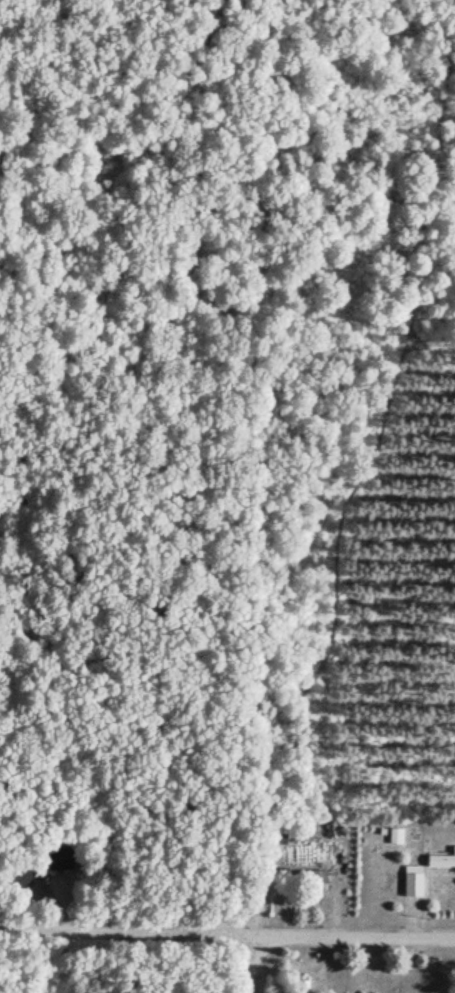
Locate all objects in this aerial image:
building: (281, 837)
building: (396, 837)
building: (60, 859)
building: (441, 863)
building: (306, 877)
building: (414, 883)
road: (227, 939)
road: (256, 966)
building: (303, 987)

